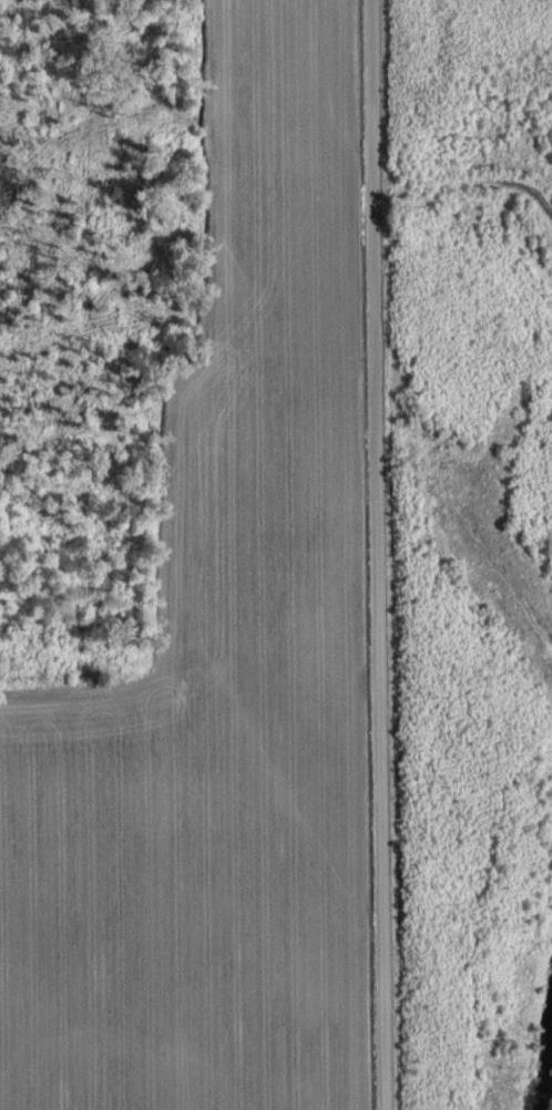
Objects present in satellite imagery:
road: (369, 555)

